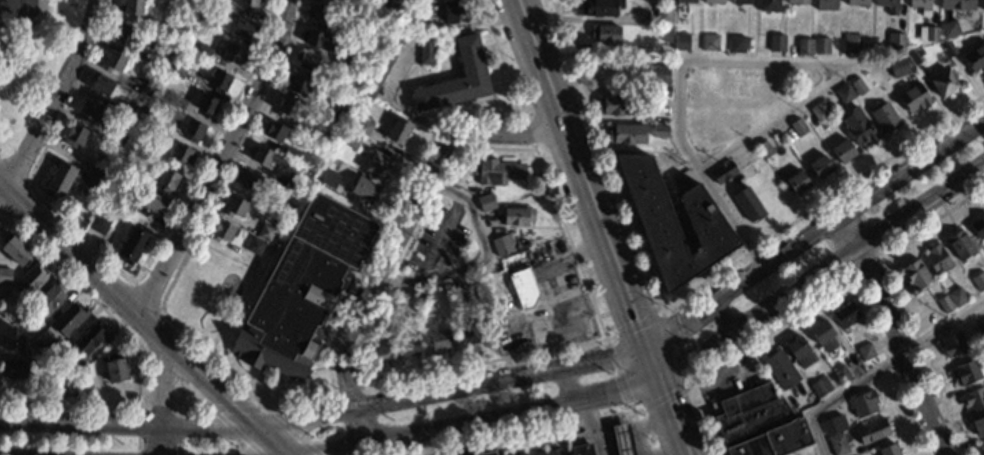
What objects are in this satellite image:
building: (385, 1)
building: (685, 1)
building: (713, 2)
building: (742, 2)
building: (796, 2)
building: (857, 3)
building: (249, 4)
building: (957, 4)
building: (356, 5)
building: (768, 5)
building: (825, 5)
building: (888, 6)
building: (921, 6)
building: (983, 6)
building: (132, 7)
building: (599, 8)
building: (444, 12)
building: (318, 13)
building: (663, 15)
road: (28, 21)
building: (243, 28)
building: (949, 29)
building: (350, 32)
building: (604, 33)
building: (926, 33)
building: (666, 35)
building: (124, 36)
building: (320, 40)
building: (681, 41)
building: (895, 41)
building: (709, 42)
building: (776, 42)
building: (851, 43)
building: (736, 44)
building: (821, 45)
building: (805, 46)
building: (427, 50)
building: (948, 50)
building: (202, 51)
building: (920, 53)
building: (233, 54)
building: (975, 57)
park: (30, 58)
building: (913, 58)
road: (757, 60)
building: (308, 61)
building: (113, 62)
building: (359, 62)
building: (382, 64)
building: (898, 67)
building: (178, 69)
building: (649, 74)
building: (457, 79)
building: (218, 81)
building: (944, 83)
building: (298, 84)
building: (102, 85)
building: (857, 87)
building: (344, 88)
building: (148, 89)
building: (661, 91)
building: (844, 94)
road: (53, 96)
building: (913, 98)
building: (178, 102)
building: (616, 105)
building: (206, 106)
building: (89, 110)
building: (289, 110)
building: (820, 111)
building: (134, 114)
building: (885, 119)
building: (159, 126)
building: (363, 127)
building: (798, 127)
building: (858, 127)
building: (193, 130)
building: (275, 131)
building: (399, 131)
building: (660, 132)
building: (626, 134)
building: (74, 136)
building: (323, 137)
building: (118, 139)
building: (350, 139)
building: (764, 148)
building: (843, 151)
building: (291, 153)
building: (181, 155)
building: (265, 157)
building: (132, 158)
road: (217, 159)
building: (107, 164)
building: (377, 165)
building: (820, 167)
building: (497, 172)
building: (723, 172)
building: (98, 177)
building: (60, 178)
building: (329, 179)
building: (166, 180)
building: (248, 180)
building: (797, 182)
building: (292, 186)
building: (364, 189)
building: (92, 191)
building: (486, 202)
building: (127, 203)
building: (155, 203)
building: (740, 204)
building: (235, 206)
building: (281, 210)
road: (406, 215)
building: (518, 216)
building: (98, 223)
building: (673, 223)
building: (977, 226)
road: (602, 227)
building: (222, 231)
building: (265, 232)
building: (133, 244)
building: (501, 245)
building: (959, 245)
building: (254, 246)
building: (15, 250)
building: (937, 259)
road: (553, 263)
road: (488, 265)
building: (915, 274)
building: (5, 276)
building: (30, 279)
building: (978, 281)
building: (301, 288)
building: (523, 288)
building: (455, 289)
building: (424, 295)
building: (957, 297)
building: (49, 298)
building: (394, 301)
building: (944, 304)
building: (20, 309)
building: (845, 315)
road: (691, 317)
building: (69, 318)
traffic signals: (635, 318)
road: (547, 319)
road: (143, 320)
building: (383, 324)
traffic signals: (679, 326)
building: (980, 329)
building: (32, 333)
road: (894, 333)
building: (469, 334)
building: (822, 336)
building: (89, 337)
building: (12, 340)
building: (439, 340)
building: (953, 345)
building: (408, 346)
building: (52, 349)
building: (382, 349)
building: (865, 351)
building: (799, 353)
road: (879, 367)
building: (114, 368)
building: (17, 369)
road: (669, 369)
building: (780, 369)
building: (72, 370)
building: (842, 373)
building: (965, 373)
building: (55, 382)
building: (820, 387)
traffic signals: (617, 390)
road: (161, 396)
building: (973, 399)
building: (863, 404)
traffic signals: (667, 405)
road: (358, 424)
building: (759, 424)
road: (177, 425)
building: (834, 425)
building: (979, 426)
building: (872, 431)
road: (462, 438)
building: (621, 440)
road: (424, 442)
building: (838, 445)
building: (581, 449)
building: (889, 449)
building: (982, 449)
building: (549, 452)
building: (486, 453)
road: (0, 454)
building: (521, 454)

